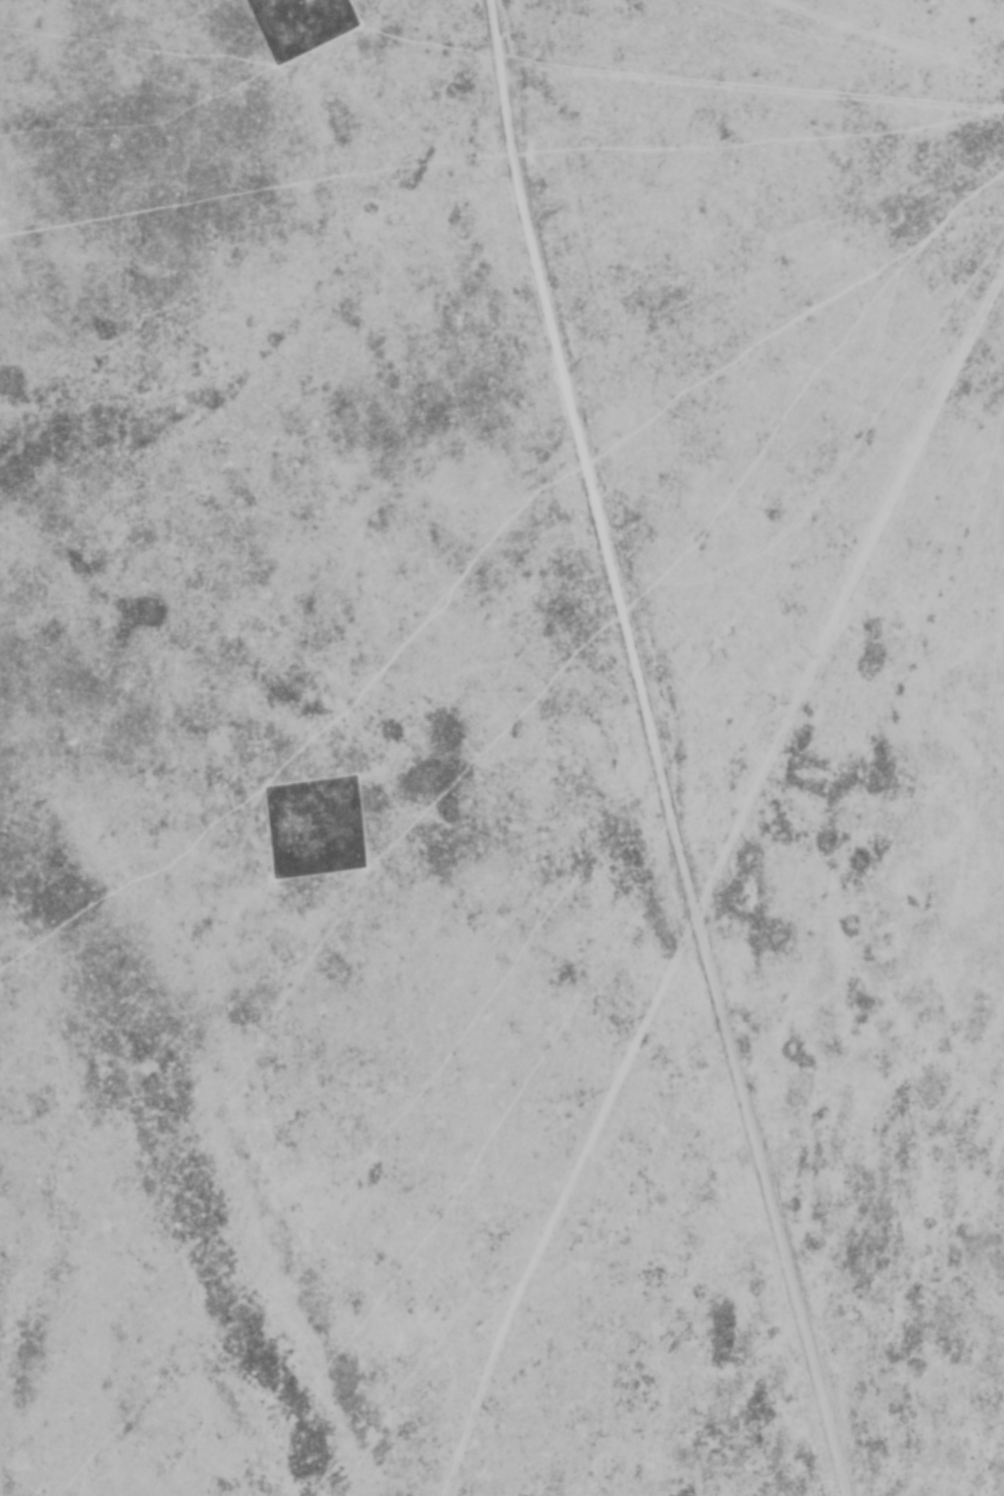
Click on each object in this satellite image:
road: (1000, 4)
road: (651, 755)

